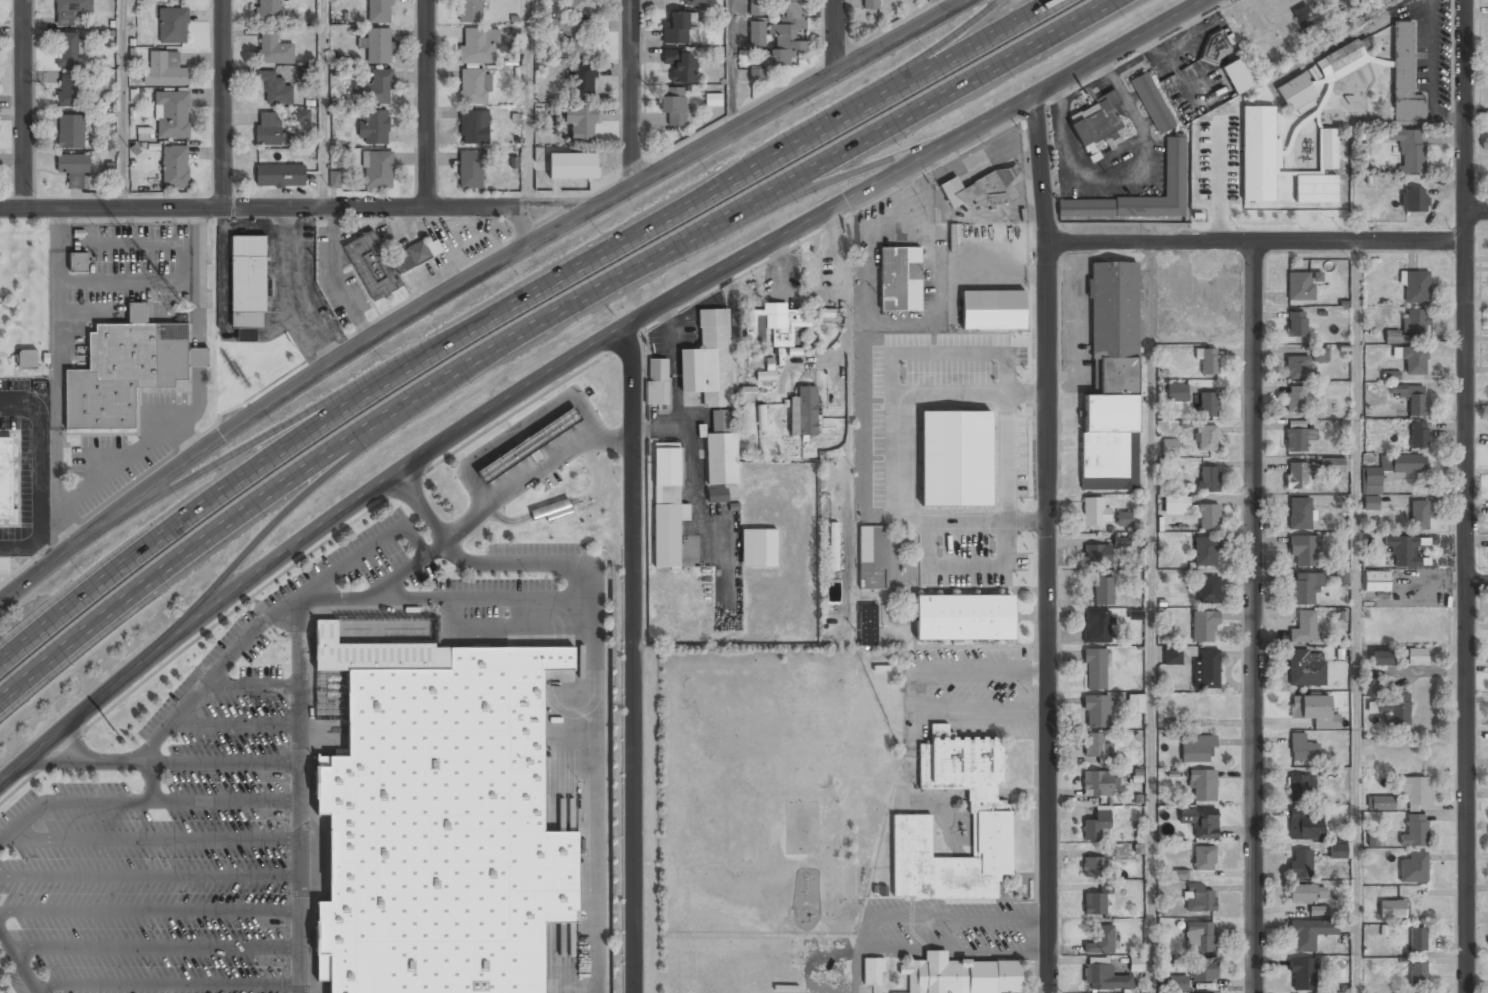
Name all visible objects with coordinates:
building: (693, 2)
building: (870, 4)
building: (581, 6)
road: (935, 6)
building: (757, 7)
building: (70, 10)
building: (268, 10)
building: (379, 11)
building: (470, 11)
building: (1305, 22)
building: (172, 25)
building: (676, 28)
building: (786, 32)
building: (757, 33)
building: (573, 34)
road: (835, 34)
building: (376, 45)
building: (477, 46)
building: (68, 47)
building: (1215, 47)
building: (273, 48)
building: (1339, 58)
road: (730, 64)
building: (680, 65)
road: (918, 65)
building: (165, 68)
building: (1404, 73)
building: (756, 75)
building: (1239, 76)
building: (582, 80)
building: (474, 86)
building: (274, 87)
building: (374, 88)
building: (68, 91)
road: (632, 92)
building: (1296, 93)
building: (712, 99)
building: (1152, 103)
road: (22, 104)
road: (120, 104)
road: (427, 104)
road: (222, 105)
road: (322, 105)
road: (527, 105)
building: (673, 105)
building: (172, 114)
building: (302, 115)
building: (1093, 121)
building: (580, 122)
building: (373, 127)
building: (473, 127)
building: (270, 129)
building: (70, 132)
building: (1409, 149)
building: (1259, 153)
building: (174, 167)
building: (1174, 167)
building: (73, 168)
building: (377, 169)
building: (470, 169)
building: (280, 174)
road: (844, 178)
building: (335, 179)
building: (978, 188)
building: (1316, 188)
building: (1413, 200)
road: (292, 210)
road: (1476, 211)
road: (1254, 242)
building: (78, 262)
building: (384, 263)
building: (899, 279)
road: (465, 282)
building: (247, 284)
building: (1301, 286)
building: (1415, 287)
park: (25, 299)
road: (515, 306)
building: (992, 309)
building: (774, 324)
road: (546, 325)
building: (1296, 325)
building: (1409, 326)
road: (576, 354)
building: (1319, 354)
building: (28, 358)
building: (1412, 358)
building: (708, 361)
building: (1208, 362)
building: (1295, 368)
building: (126, 369)
building: (1391, 375)
building: (1111, 380)
building: (656, 381)
building: (1177, 392)
building: (1411, 398)
building: (1295, 399)
building: (1207, 405)
building: (803, 411)
building: (761, 417)
building: (720, 421)
building: (1418, 435)
road: (610, 437)
building: (1205, 438)
building: (1297, 439)
building: (529, 444)
gas station: (529, 444)
building: (721, 445)
building: (1170, 447)
parking lot: (529, 451)
parking lot: (29, 464)
building: (1334, 464)
building: (1391, 469)
road: (210, 470)
building: (1297, 476)
building: (6, 477)
building: (1207, 479)
road: (512, 487)
building: (873, 488)
building: (717, 495)
road: (1466, 496)
building: (1370, 502)
building: (1176, 505)
building: (666, 507)
building: (550, 511)
building: (1094, 513)
building: (1300, 513)
building: (1419, 514)
building: (1208, 517)
building: (1124, 518)
road: (271, 533)
building: (834, 541)
road: (1046, 544)
building: (758, 548)
building: (1402, 549)
building: (1302, 550)
building: (1205, 551)
building: (1097, 555)
building: (871, 557)
road: (511, 564)
building: (1376, 580)
road: (1478, 584)
building: (1304, 587)
building: (1207, 590)
building: (1102, 591)
road: (300, 599)
building: (964, 617)
road: (1256, 617)
road: (1356, 617)
road: (1151, 618)
building: (868, 625)
building: (1204, 626)
building: (1096, 627)
building: (1303, 628)
building: (1416, 655)
building: (1172, 656)
building: (1380, 657)
road: (633, 659)
building: (1306, 667)
building: (1207, 668)
building: (1095, 669)
building: (1369, 687)
building: (1135, 703)
building: (1393, 708)
building: (1097, 711)
building: (1313, 711)
building: (1096, 746)
building: (1197, 749)
building: (1302, 749)
road: (103, 758)
road: (92, 767)
building: (1098, 783)
building: (1202, 785)
building: (1300, 786)
building: (1412, 788)
parking lot: (224, 796)
road: (88, 801)
building: (1381, 801)
road: (300, 804)
building: (1199, 820)
building: (436, 822)
building: (1303, 823)
building: (1096, 825)
building: (1415, 830)
building: (990, 835)
building: (1337, 850)
building: (1203, 858)
building: (1300, 863)
building: (1092, 867)
building: (1413, 867)
building: (1179, 874)
building: (1307, 893)
building: (1198, 898)
building: (1094, 903)
building: (1392, 908)
building: (1317, 910)
building: (1308, 933)
building: (1198, 936)
building: (1417, 939)
building: (1100, 940)
road: (17, 963)
building: (1136, 964)
building: (1203, 969)
building: (872, 971)
building: (1303, 973)
building: (1417, 974)
building: (961, 975)
building: (1104, 978)
building: (1176, 983)
building: (894, 992)

